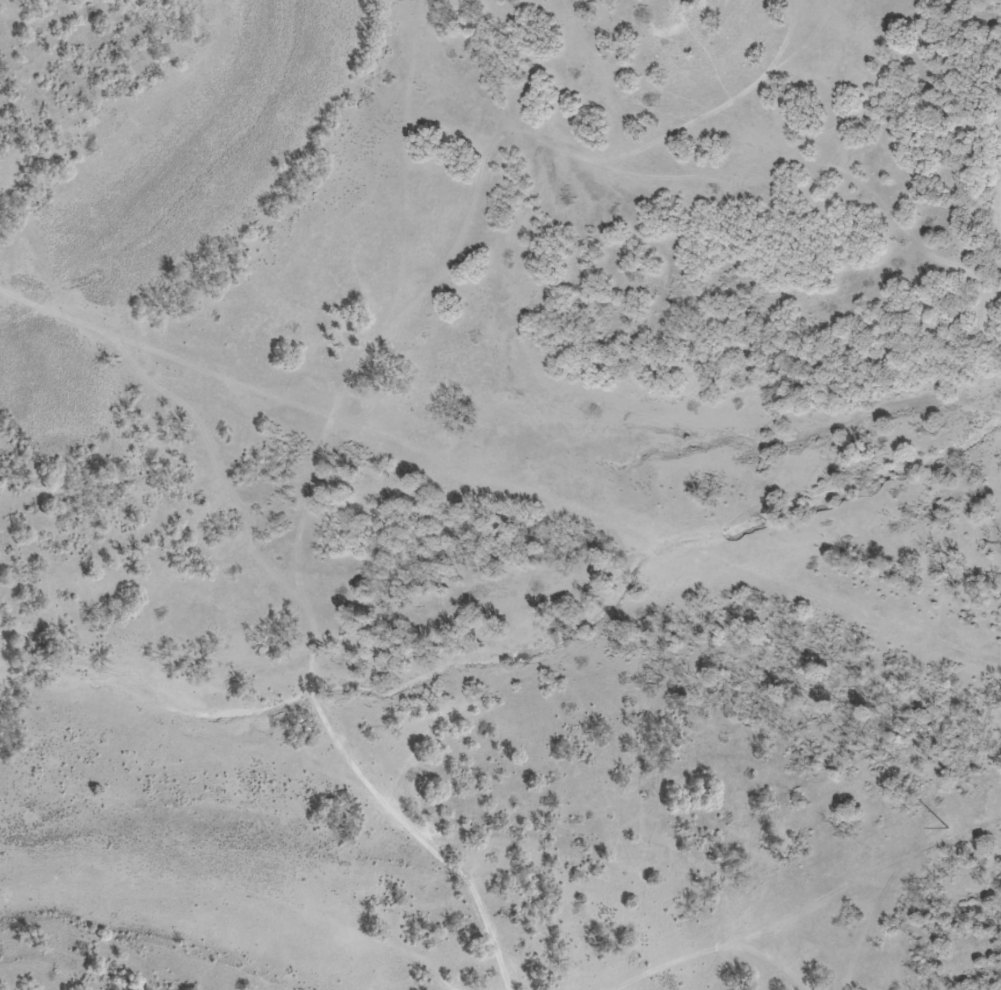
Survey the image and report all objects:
power tower: (950, 828)

